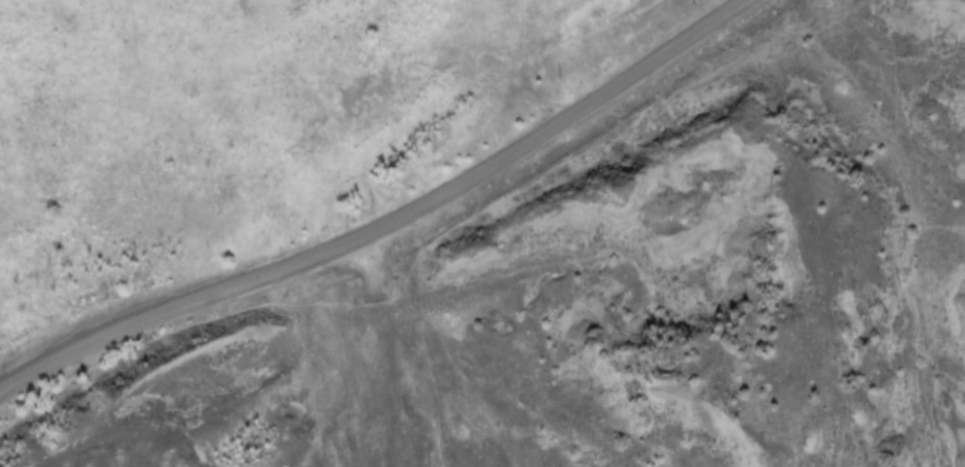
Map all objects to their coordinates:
road: (385, 225)

